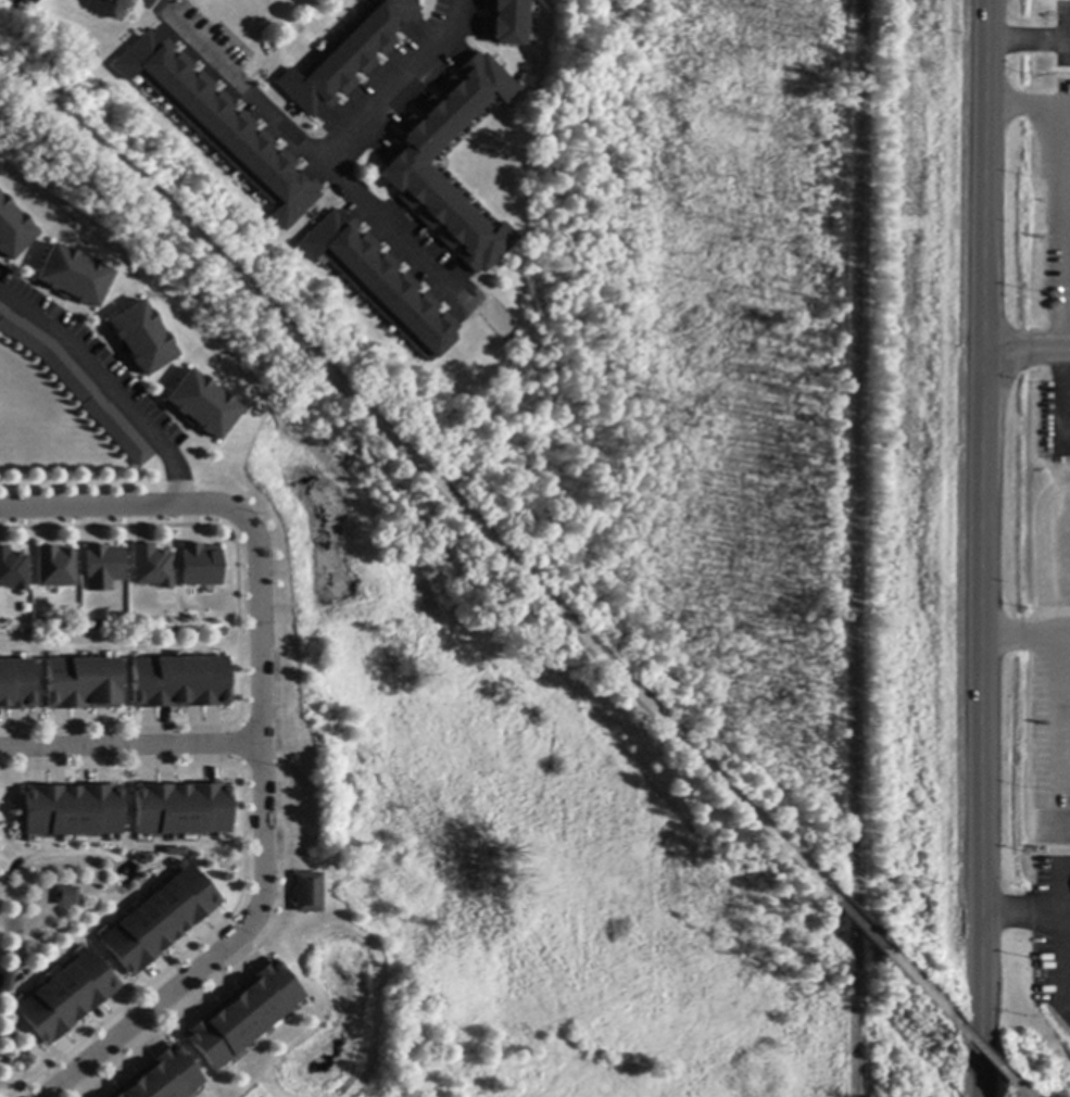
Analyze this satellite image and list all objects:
building: (121, 0)
building: (128, 0)
building: (34, 2)
building: (505, 23)
road: (1030, 42)
building: (348, 56)
power tower: (920, 66)
road: (13, 85)
road: (1045, 110)
building: (222, 126)
road: (315, 156)
building: (405, 165)
building: (14, 228)
road: (389, 228)
building: (74, 275)
building: (380, 283)
building: (140, 336)
road: (1029, 349)
building: (78, 387)
road: (106, 387)
building: (201, 404)
road: (417, 468)
power tower: (919, 474)
road: (91, 506)
railway: (859, 548)
road: (986, 548)
building: (198, 564)
building: (53, 565)
building: (100, 565)
building: (148, 566)
building: (12, 569)
road: (1061, 660)
building: (179, 683)
building: (83, 684)
building: (16, 685)
road: (129, 747)
building: (179, 809)
building: (72, 811)
road: (261, 824)
park: (458, 832)
building: (174, 852)
power tower: (918, 884)
building: (307, 894)
building: (64, 897)
road: (1032, 906)
building: (159, 921)
road: (859, 924)
building: (7, 983)
road: (923, 991)
building: (66, 998)
building: (242, 1016)
road: (986, 1056)
building: (160, 1077)
road: (1022, 1095)

